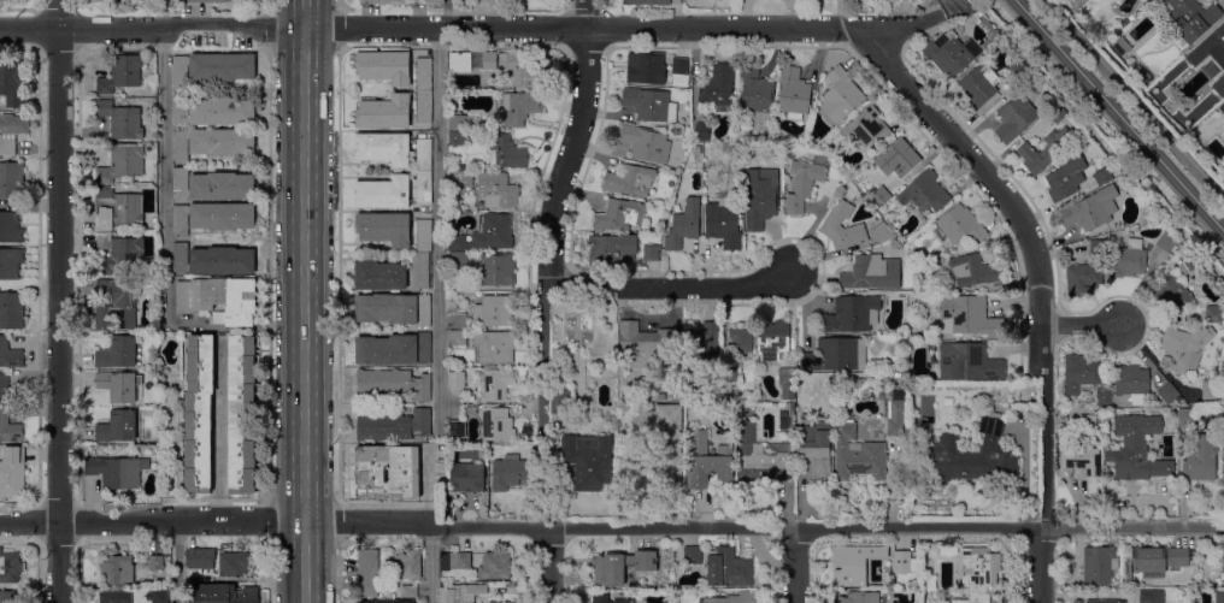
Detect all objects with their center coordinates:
building: (1066, 0)
building: (1149, 0)
building: (210, 1)
building: (402, 1)
building: (645, 2)
building: (676, 2)
building: (1189, 20)
road: (469, 28)
building: (1122, 47)
building: (1210, 51)
building: (949, 53)
building: (465, 61)
building: (489, 61)
building: (212, 67)
building: (384, 67)
building: (646, 69)
building: (681, 69)
building: (1017, 70)
building: (524, 71)
building: (120, 73)
building: (423, 73)
building: (11, 81)
building: (978, 87)
building: (718, 88)
building: (793, 93)
building: (755, 94)
building: (840, 95)
road: (1132, 100)
building: (649, 105)
building: (424, 107)
building: (520, 107)
building: (212, 111)
building: (1222, 111)
building: (384, 112)
building: (1057, 114)
building: (1014, 118)
building: (120, 120)
building: (457, 122)
building: (866, 126)
building: (701, 131)
building: (11, 132)
building: (457, 138)
building: (212, 142)
road: (572, 142)
building: (646, 143)
building: (826, 144)
building: (383, 148)
building: (1044, 150)
building: (506, 152)
building: (423, 155)
building: (901, 156)
building: (122, 164)
road: (163, 175)
building: (1104, 176)
building: (1066, 177)
building: (463, 178)
building: (887, 178)
building: (10, 179)
building: (629, 182)
building: (805, 182)
building: (212, 185)
building: (423, 188)
building: (495, 191)
building: (383, 193)
building: (924, 193)
building: (879, 196)
building: (760, 197)
building: (118, 208)
building: (1090, 209)
building: (618, 215)
building: (1149, 215)
building: (212, 217)
road: (269, 223)
building: (831, 224)
building: (723, 225)
building: (683, 226)
building: (960, 226)
building: (10, 227)
building: (384, 229)
road: (439, 229)
building: (493, 232)
building: (881, 232)
building: (423, 235)
building: (457, 242)
building: (1165, 246)
building: (1098, 247)
building: (611, 250)
building: (651, 253)
building: (119, 254)
building: (457, 259)
building: (1128, 259)
building: (212, 260)
building: (10, 264)
building: (418, 270)
building: (496, 270)
building: (973, 271)
building: (871, 273)
road: (339, 276)
building: (379, 276)
building: (1083, 279)
road: (1040, 284)
road: (676, 286)
building: (1177, 292)
building: (218, 300)
road: (58, 301)
road: (305, 301)
building: (117, 303)
building: (393, 309)
building: (11, 311)
building: (496, 311)
building: (852, 314)
building: (1214, 314)
building: (969, 317)
building: (458, 321)
road: (1084, 325)
road: (233, 329)
building: (143, 335)
building: (457, 338)
building: (772, 339)
building: (740, 341)
building: (702, 343)
building: (643, 344)
building: (1184, 347)
building: (493, 348)
building: (394, 349)
building: (118, 353)
building: (10, 354)
road: (542, 354)
building: (836, 354)
building: (969, 362)
building: (729, 374)
building: (1081, 374)
building: (455, 379)
building: (393, 383)
building: (787, 383)
building: (1132, 383)
building: (495, 385)
building: (119, 386)
building: (675, 390)
building: (8, 391)
building: (898, 391)
building: (1210, 392)
building: (1167, 394)
building: (1104, 397)
building: (559, 403)
building: (242, 414)
building: (198, 416)
building: (894, 416)
building: (784, 421)
building: (495, 424)
building: (1088, 424)
building: (393, 426)
building: (117, 427)
building: (8, 428)
building: (457, 428)
building: (663, 437)
building: (159, 439)
building: (816, 449)
building: (1136, 449)
building: (1197, 450)
building: (1223, 453)
building: (971, 454)
building: (858, 455)
building: (534, 457)
building: (760, 457)
building: (1079, 457)
building: (707, 462)
building: (589, 463)
building: (114, 468)
building: (508, 472)
building: (12, 473)
building: (370, 475)
building: (467, 478)
building: (117, 499)
road: (270, 516)
road: (339, 521)
road: (611, 527)
building: (1218, 552)
building: (201, 558)
building: (1159, 558)
building: (459, 561)
road: (180, 562)
building: (155, 563)
building: (234, 563)
road: (431, 563)
building: (855, 563)
building: (408, 564)
road: (548, 564)
building: (1098, 564)
building: (494, 566)
building: (720, 566)
road: (795, 566)
building: (904, 566)
building: (10, 567)
building: (620, 567)
building: (116, 569)
road: (270, 569)
building: (975, 569)
road: (340, 571)
building: (1193, 571)
building: (367, 573)
building: (1201, 585)
building: (408, 591)
building: (222, 593)
building: (464, 593)
building: (8, 596)
building: (157, 596)
building: (1151, 596)
building: (114, 597)
building: (858, 597)
building: (1219, 597)
building: (606, 598)
building: (732, 598)
building: (398, 602)
building: (1105, 602)

